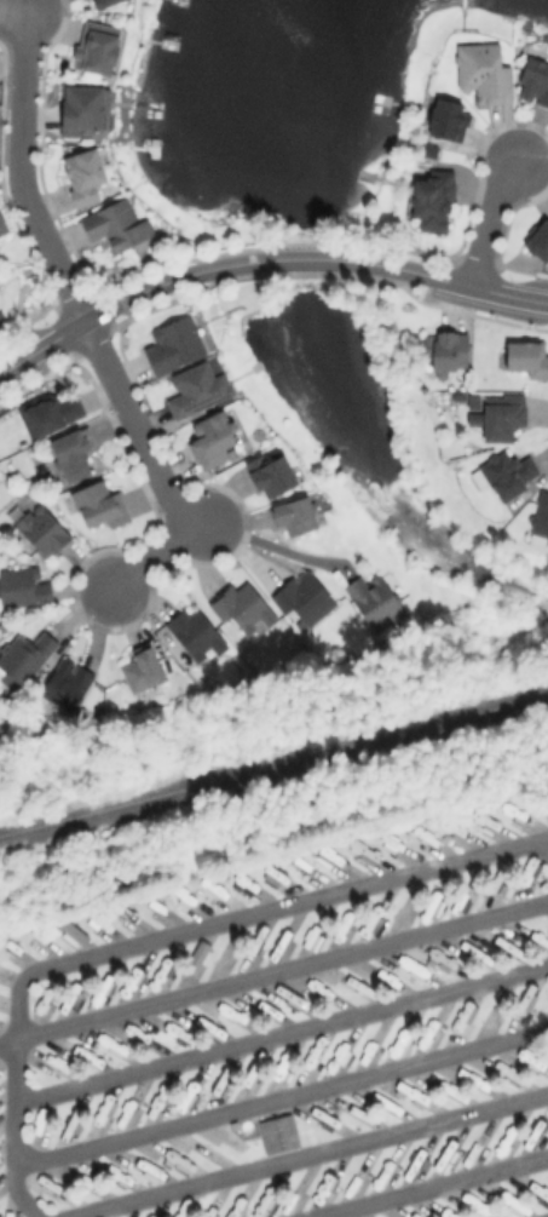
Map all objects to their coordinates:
building: (103, 1)
road: (13, 7)
building: (99, 44)
building: (484, 69)
building: (533, 76)
building: (82, 105)
building: (448, 116)
building: (429, 148)
building: (86, 173)
building: (433, 195)
road: (490, 219)
building: (4, 220)
building: (117, 223)
building: (540, 236)
road: (302, 259)
road: (404, 270)
road: (172, 280)
road: (508, 295)
building: (1, 320)
road: (88, 333)
building: (177, 341)
road: (41, 348)
building: (445, 349)
building: (526, 354)
building: (200, 388)
building: (460, 394)
building: (51, 411)
building: (501, 413)
building: (215, 437)
building: (74, 452)
building: (272, 472)
building: (508, 472)
building: (102, 503)
building: (296, 512)
building: (541, 516)
building: (42, 529)
road: (267, 544)
building: (24, 585)
building: (306, 598)
building: (376, 599)
building: (244, 607)
building: (198, 632)
building: (27, 655)
building: (144, 668)
building: (68, 684)
railway: (273, 764)
building: (121, 909)
building: (98, 920)
building: (70, 932)
building: (36, 934)
road: (162, 935)
building: (10, 947)
road: (273, 971)
building: (129, 981)
building: (73, 988)
building: (0, 999)
building: (40, 1000)
road: (279, 1032)
road: (278, 1097)
building: (276, 1133)
road: (305, 1154)
road: (427, 1186)

